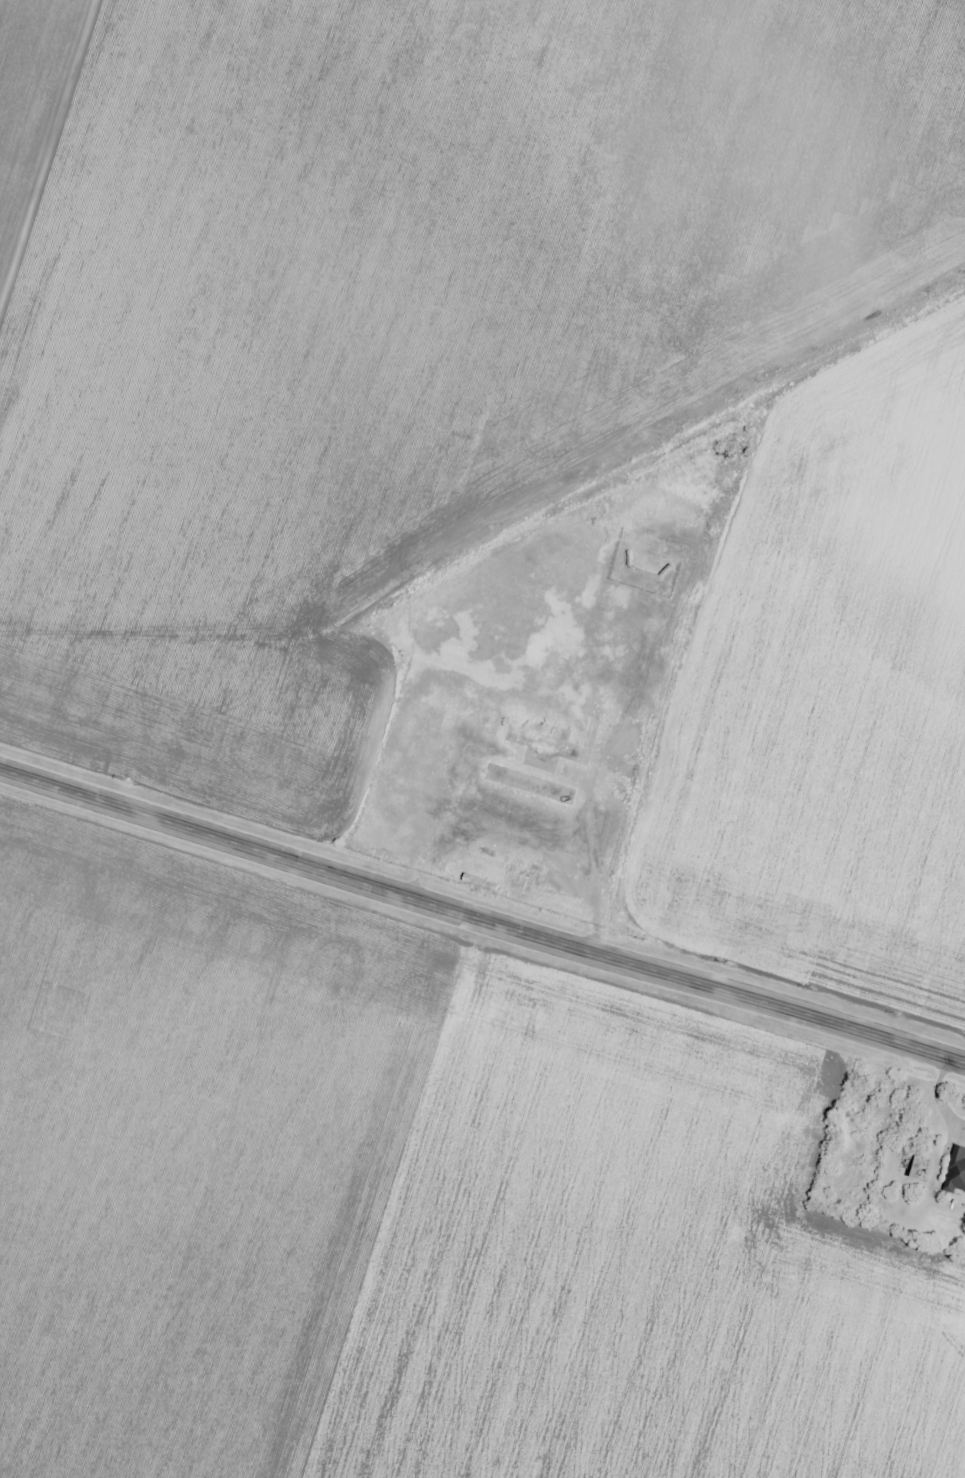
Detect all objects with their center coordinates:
building: (602, 708)
building: (548, 744)
road: (482, 916)
park: (857, 1142)
building: (954, 1170)

